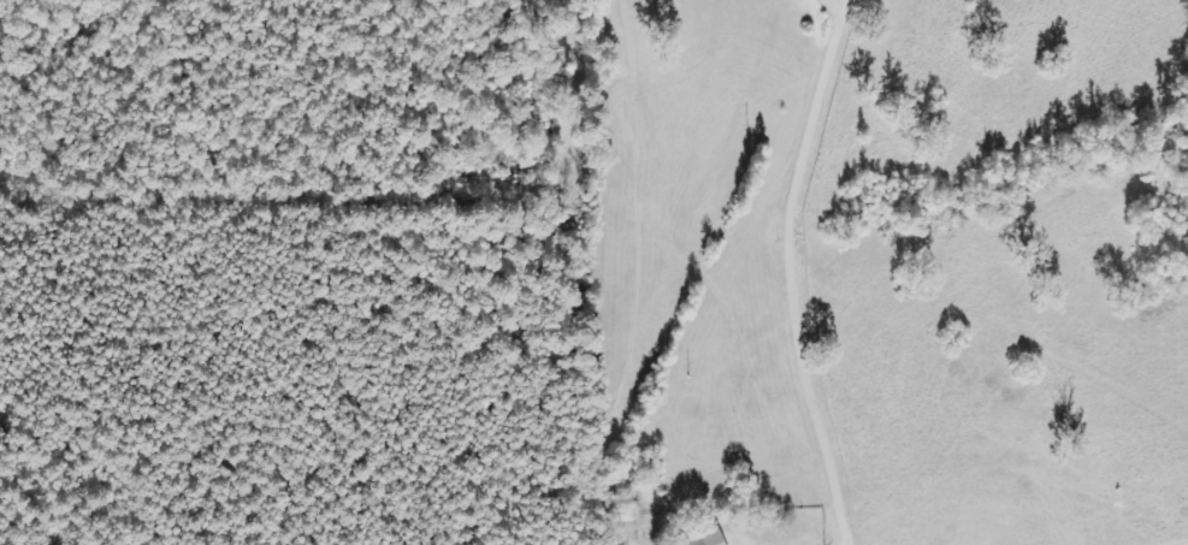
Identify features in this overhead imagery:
road: (845, 4)
road: (800, 276)
building: (707, 539)

